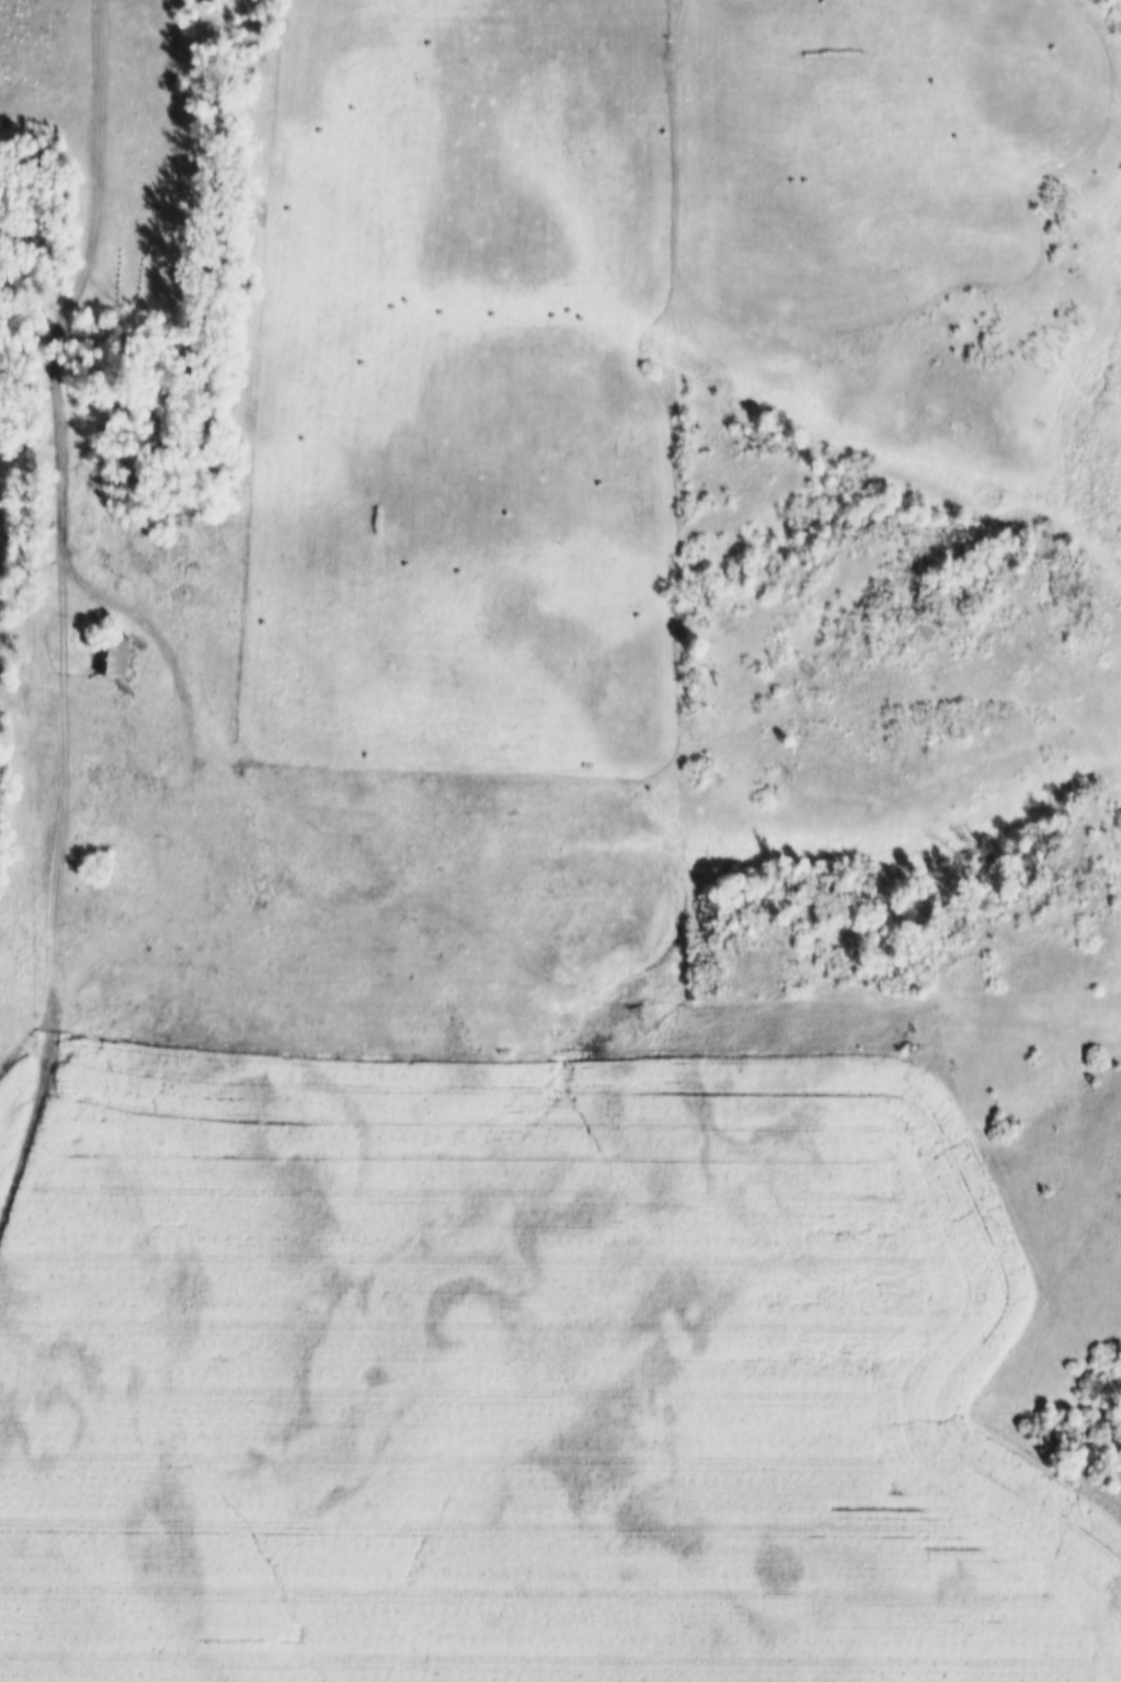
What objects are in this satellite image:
road: (65, 568)
building: (111, 654)

